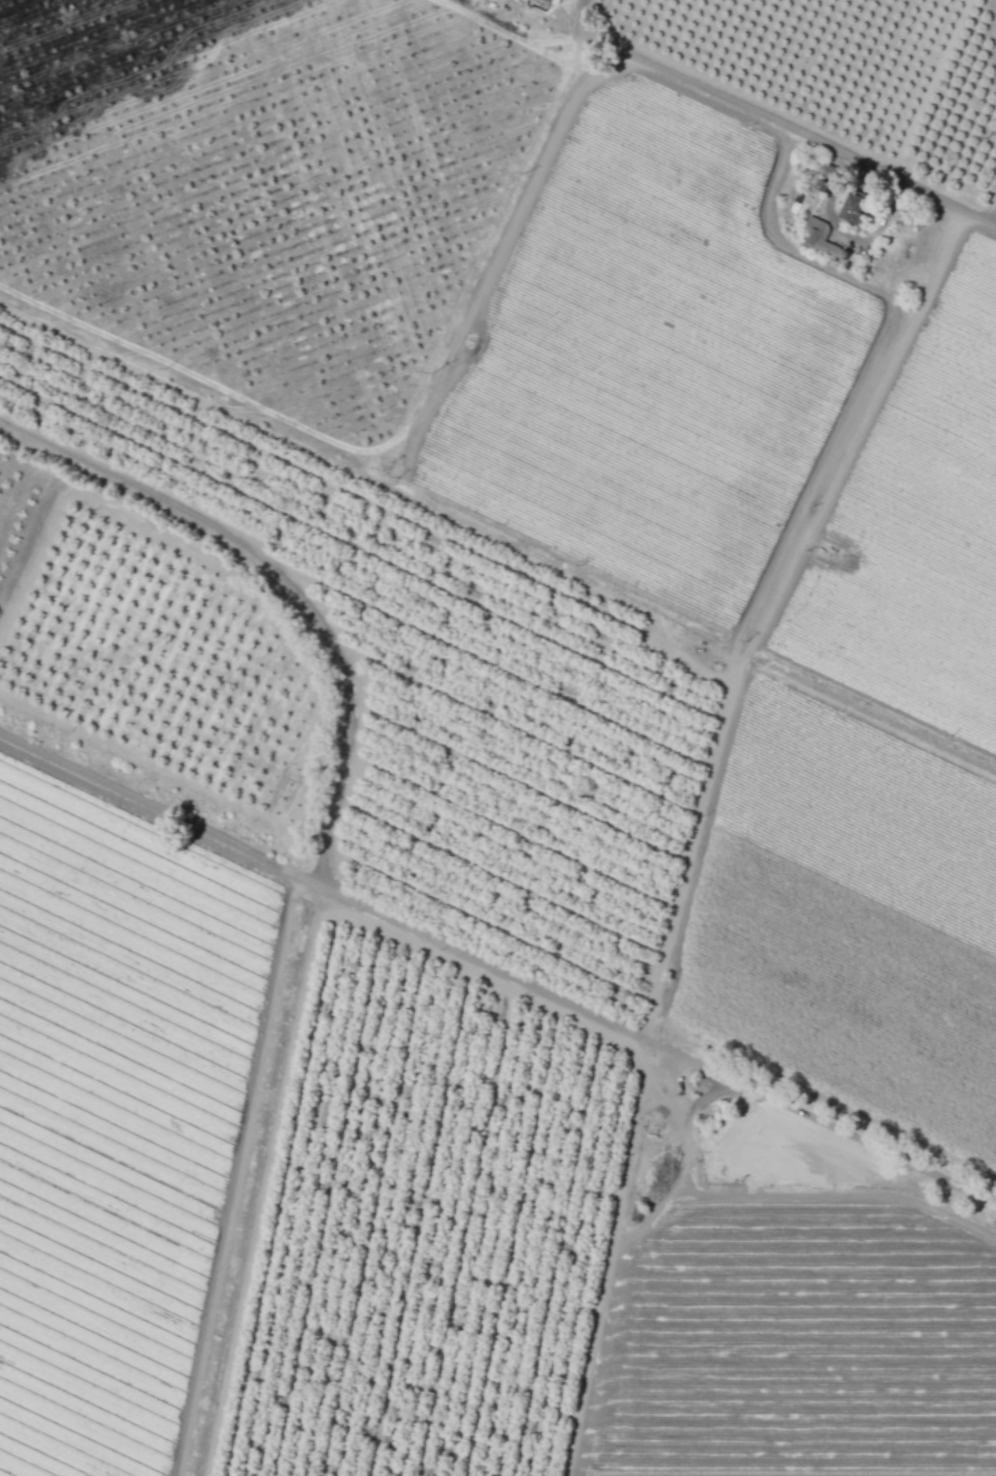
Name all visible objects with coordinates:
building: (547, 0)
road: (581, 16)
road: (793, 127)
building: (820, 184)
building: (851, 207)
road: (995, 223)
road: (844, 235)
building: (816, 237)
road: (862, 424)
road: (283, 580)
road: (497, 968)

